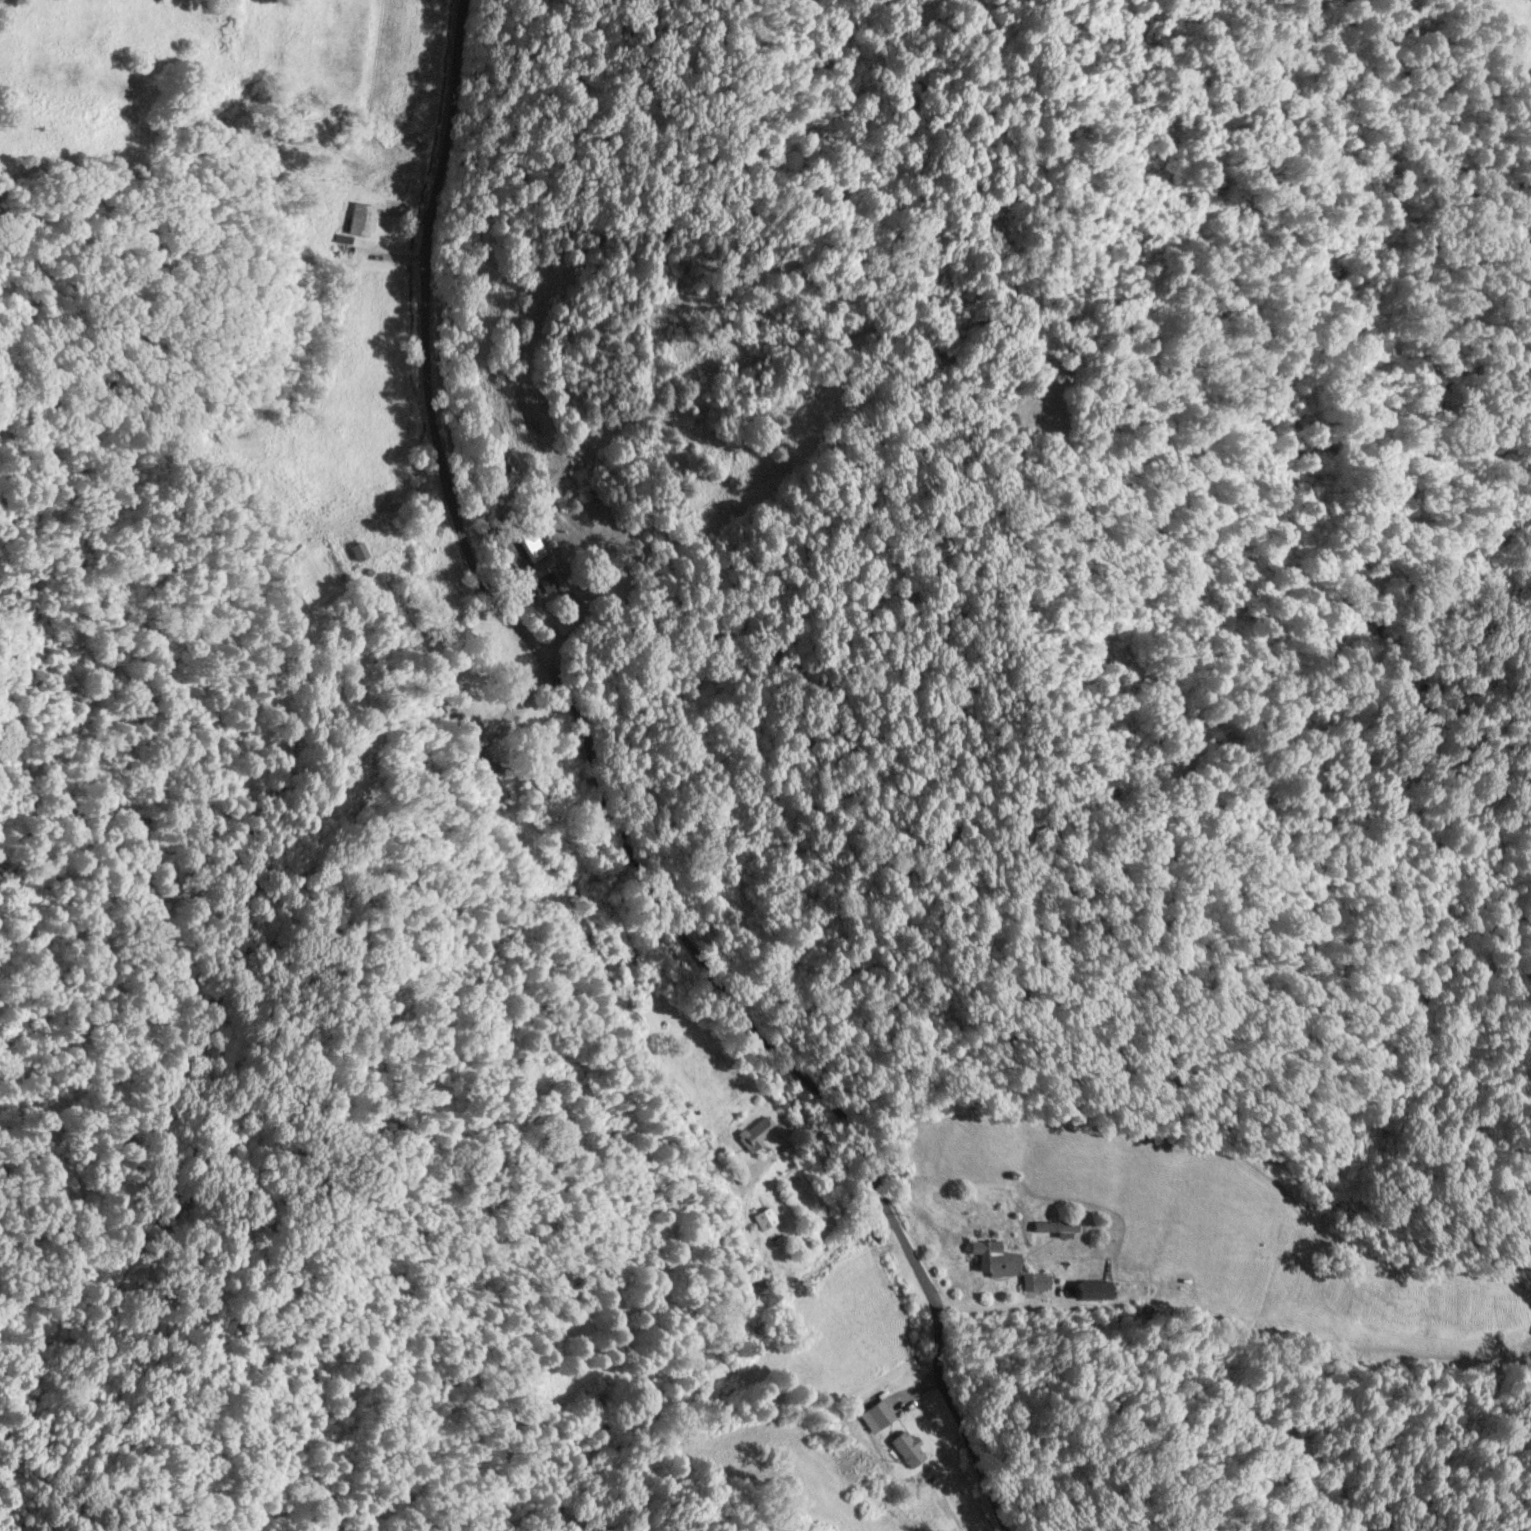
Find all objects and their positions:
building: (360, 219)
building: (1014, 420)
building: (533, 544)
building: (354, 551)
building: (548, 582)
road: (602, 800)
building: (756, 1132)
building: (763, 1218)
building: (1053, 1226)
building: (992, 1258)
building: (759, 1278)
building: (1036, 1281)
building: (1098, 1291)
building: (875, 1414)
building: (906, 1448)

